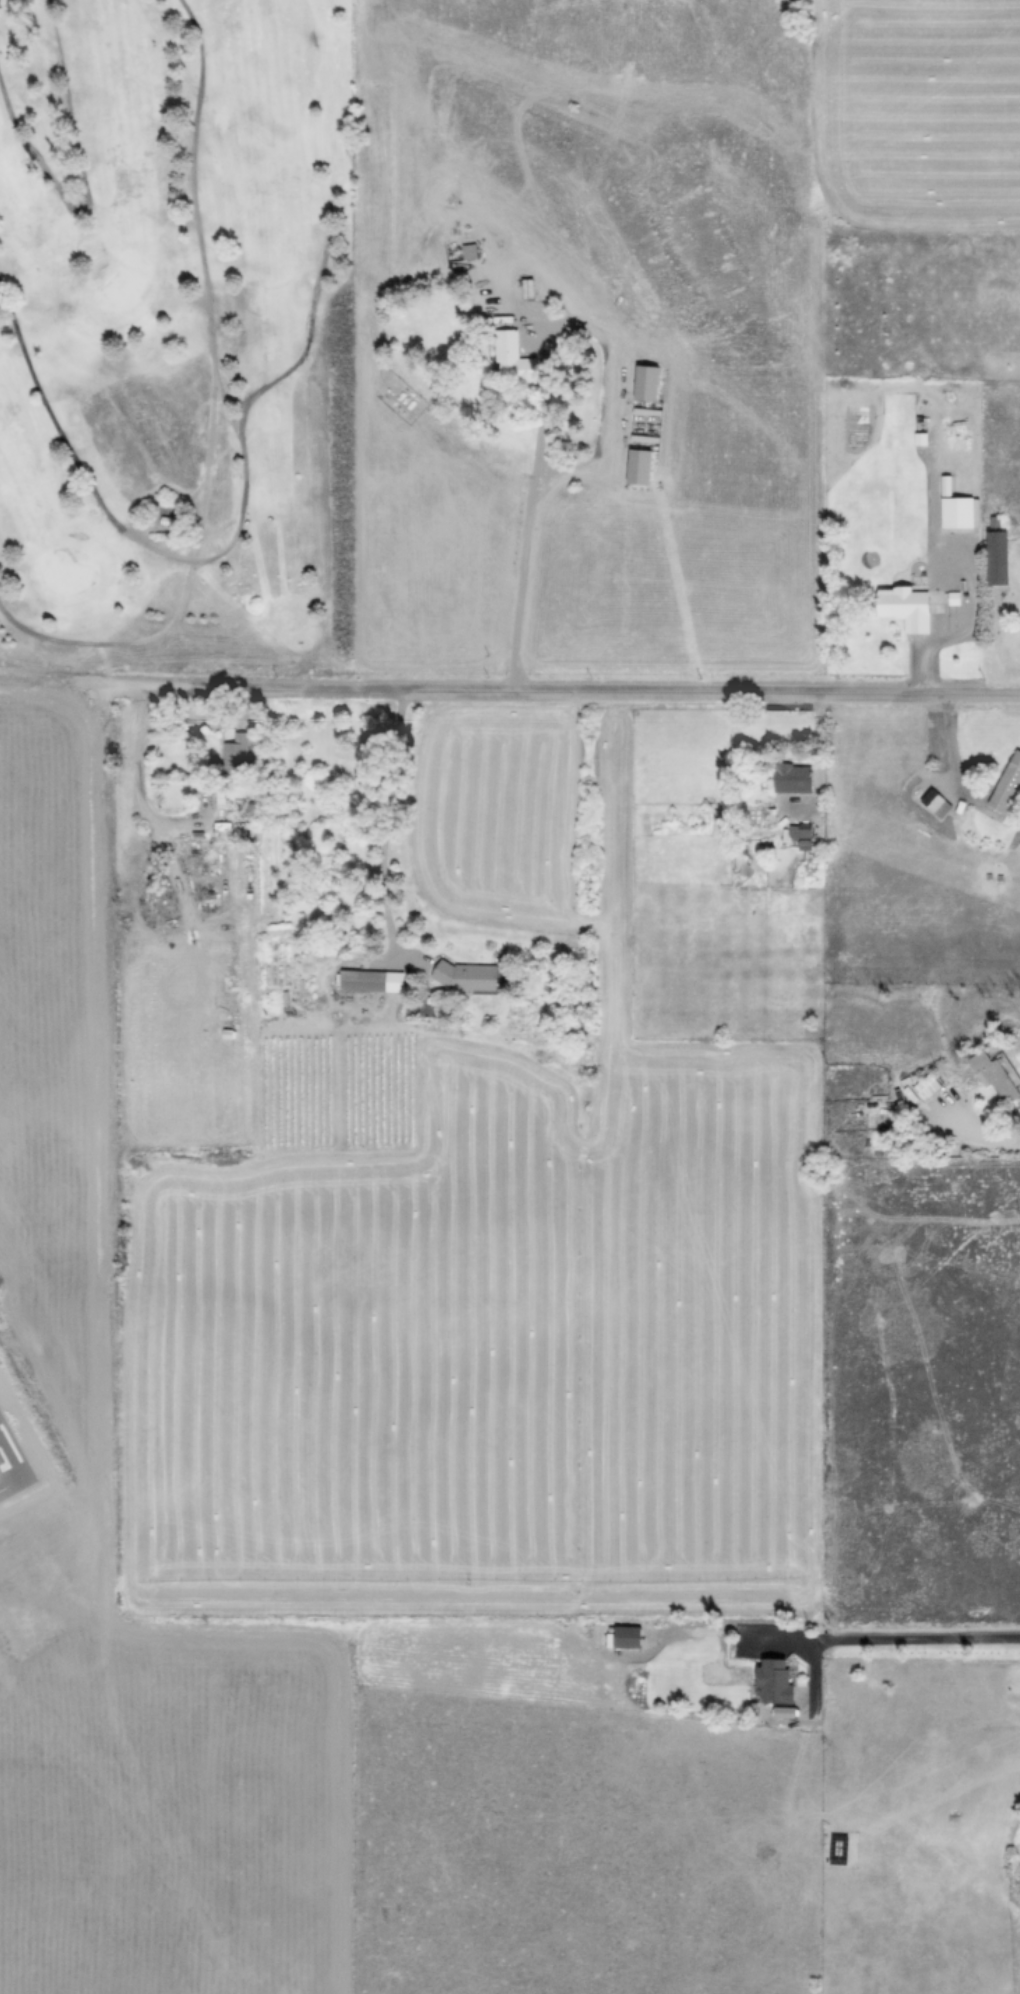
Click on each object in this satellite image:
building: (478, 253)
building: (536, 291)
building: (523, 363)
building: (956, 511)
building: (173, 524)
road: (534, 549)
building: (232, 572)
building: (904, 606)
road: (523, 694)
road: (201, 723)
road: (953, 758)
building: (233, 763)
road: (820, 767)
building: (791, 778)
building: (1006, 784)
road: (138, 789)
road: (385, 818)
building: (466, 976)
building: (369, 979)
building: (994, 1076)
building: (926, 1087)
road: (986, 1137)
airport: (52, 1163)
building: (626, 1638)
road: (889, 1643)
building: (774, 1683)

